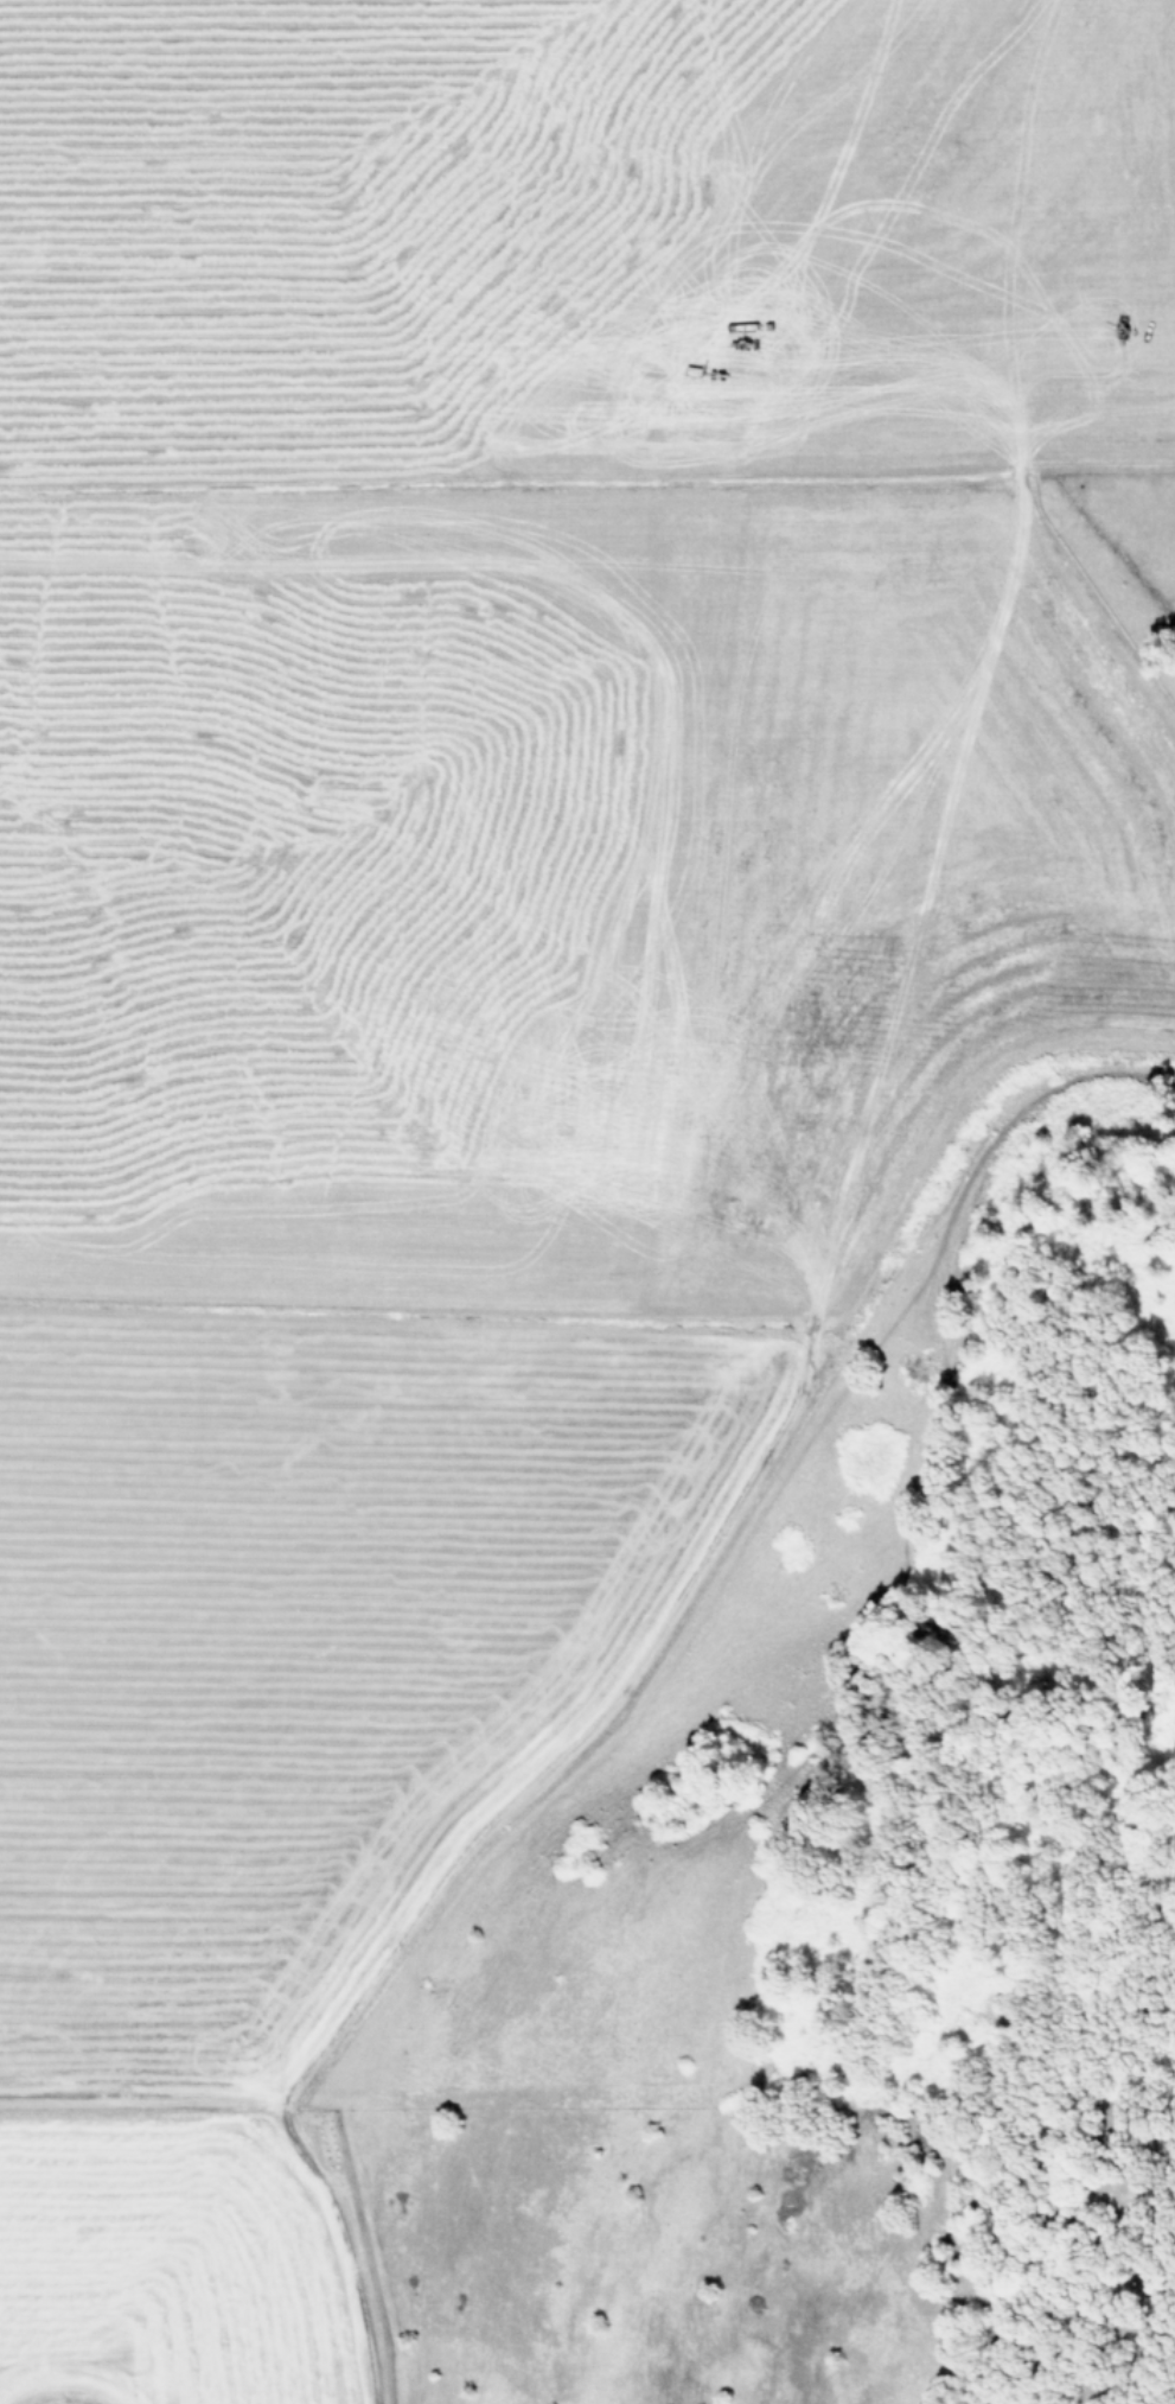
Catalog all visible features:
crop: (510, 1090)

